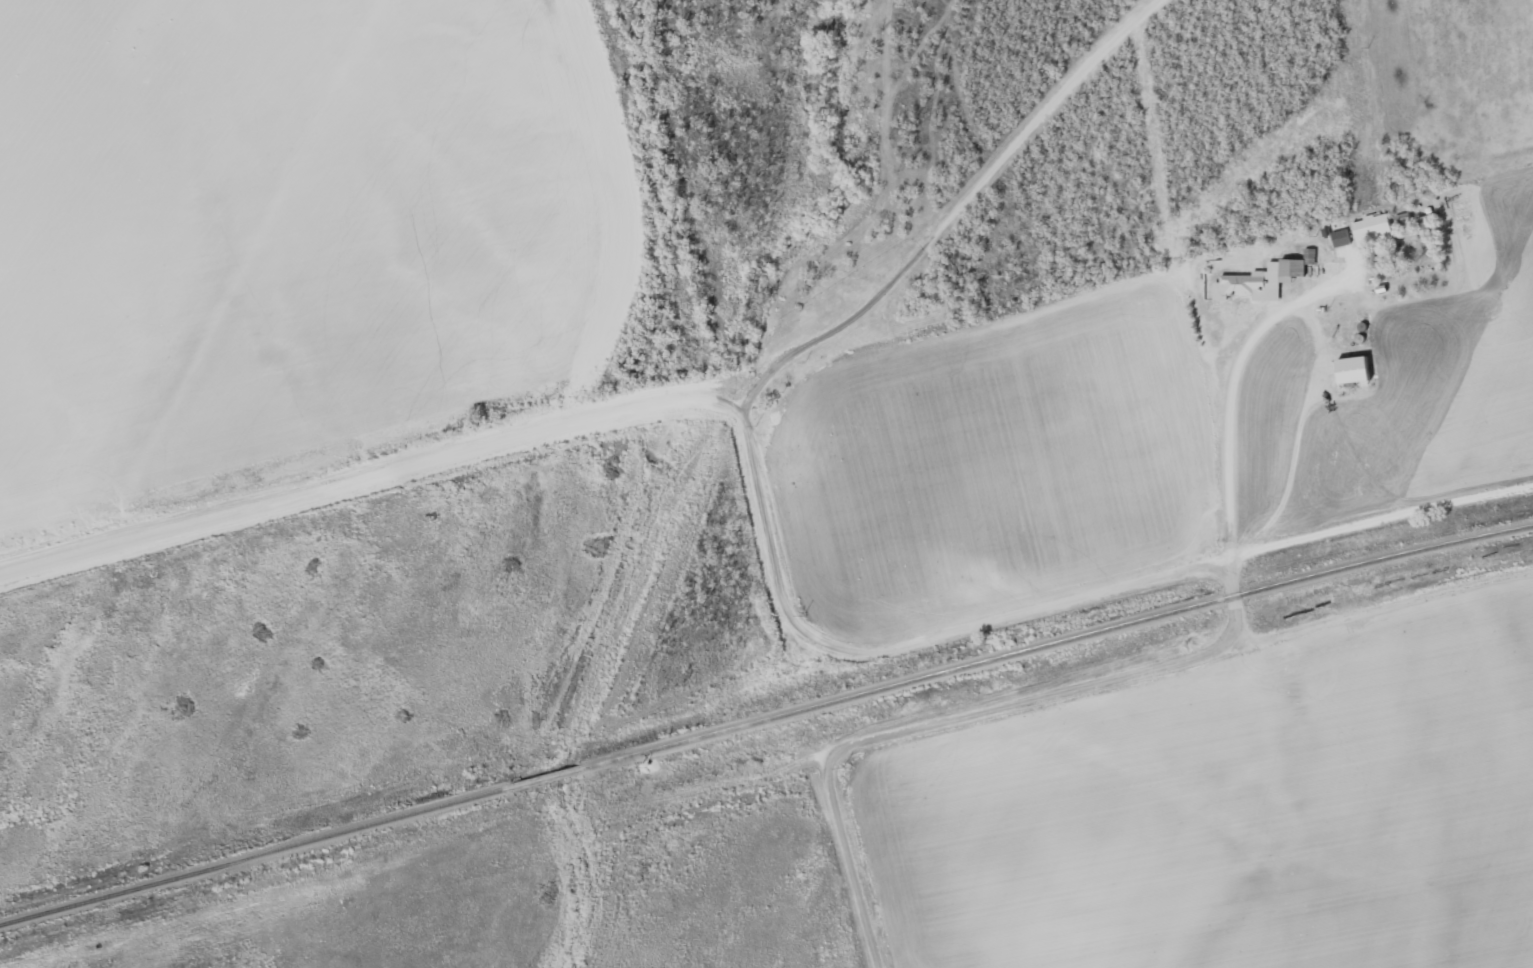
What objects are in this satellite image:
road: (954, 214)
building: (1374, 229)
building: (1342, 238)
road: (255, 278)
building: (1261, 282)
building: (1356, 370)
road: (710, 399)
road: (1231, 464)
road: (344, 490)
road: (1363, 608)
road: (1230, 615)
railway: (1061, 642)
road: (894, 648)
road: (1009, 706)
railway: (554, 776)
railway: (257, 855)
road: (852, 861)

